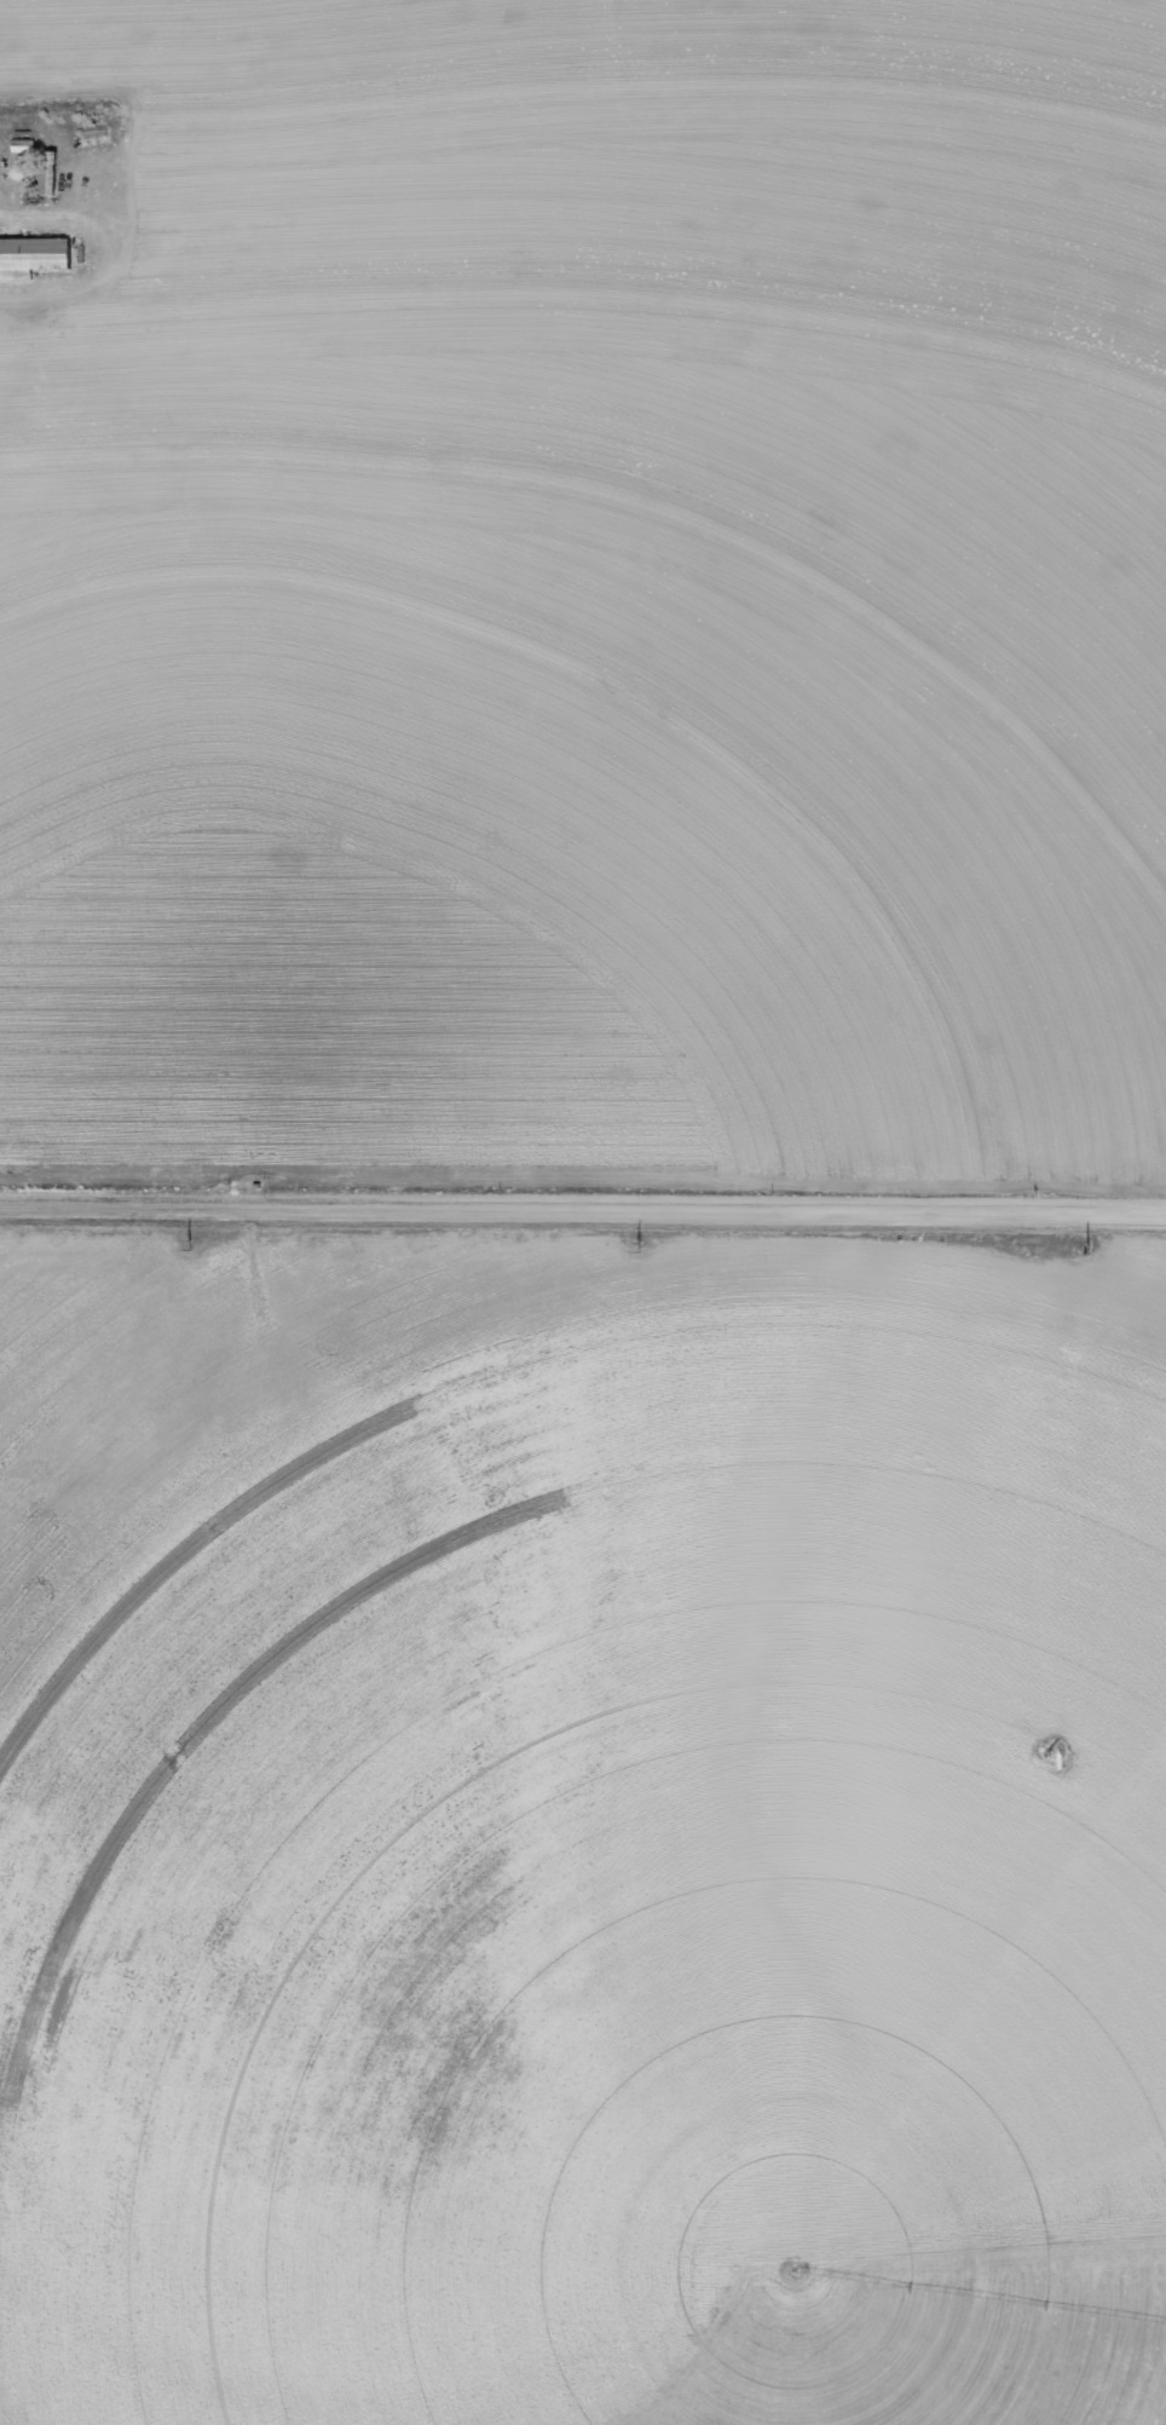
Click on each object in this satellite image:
building: (36, 261)
road: (583, 1212)
power tower: (183, 1238)
power tower: (1083, 1242)
power tower: (636, 1245)

